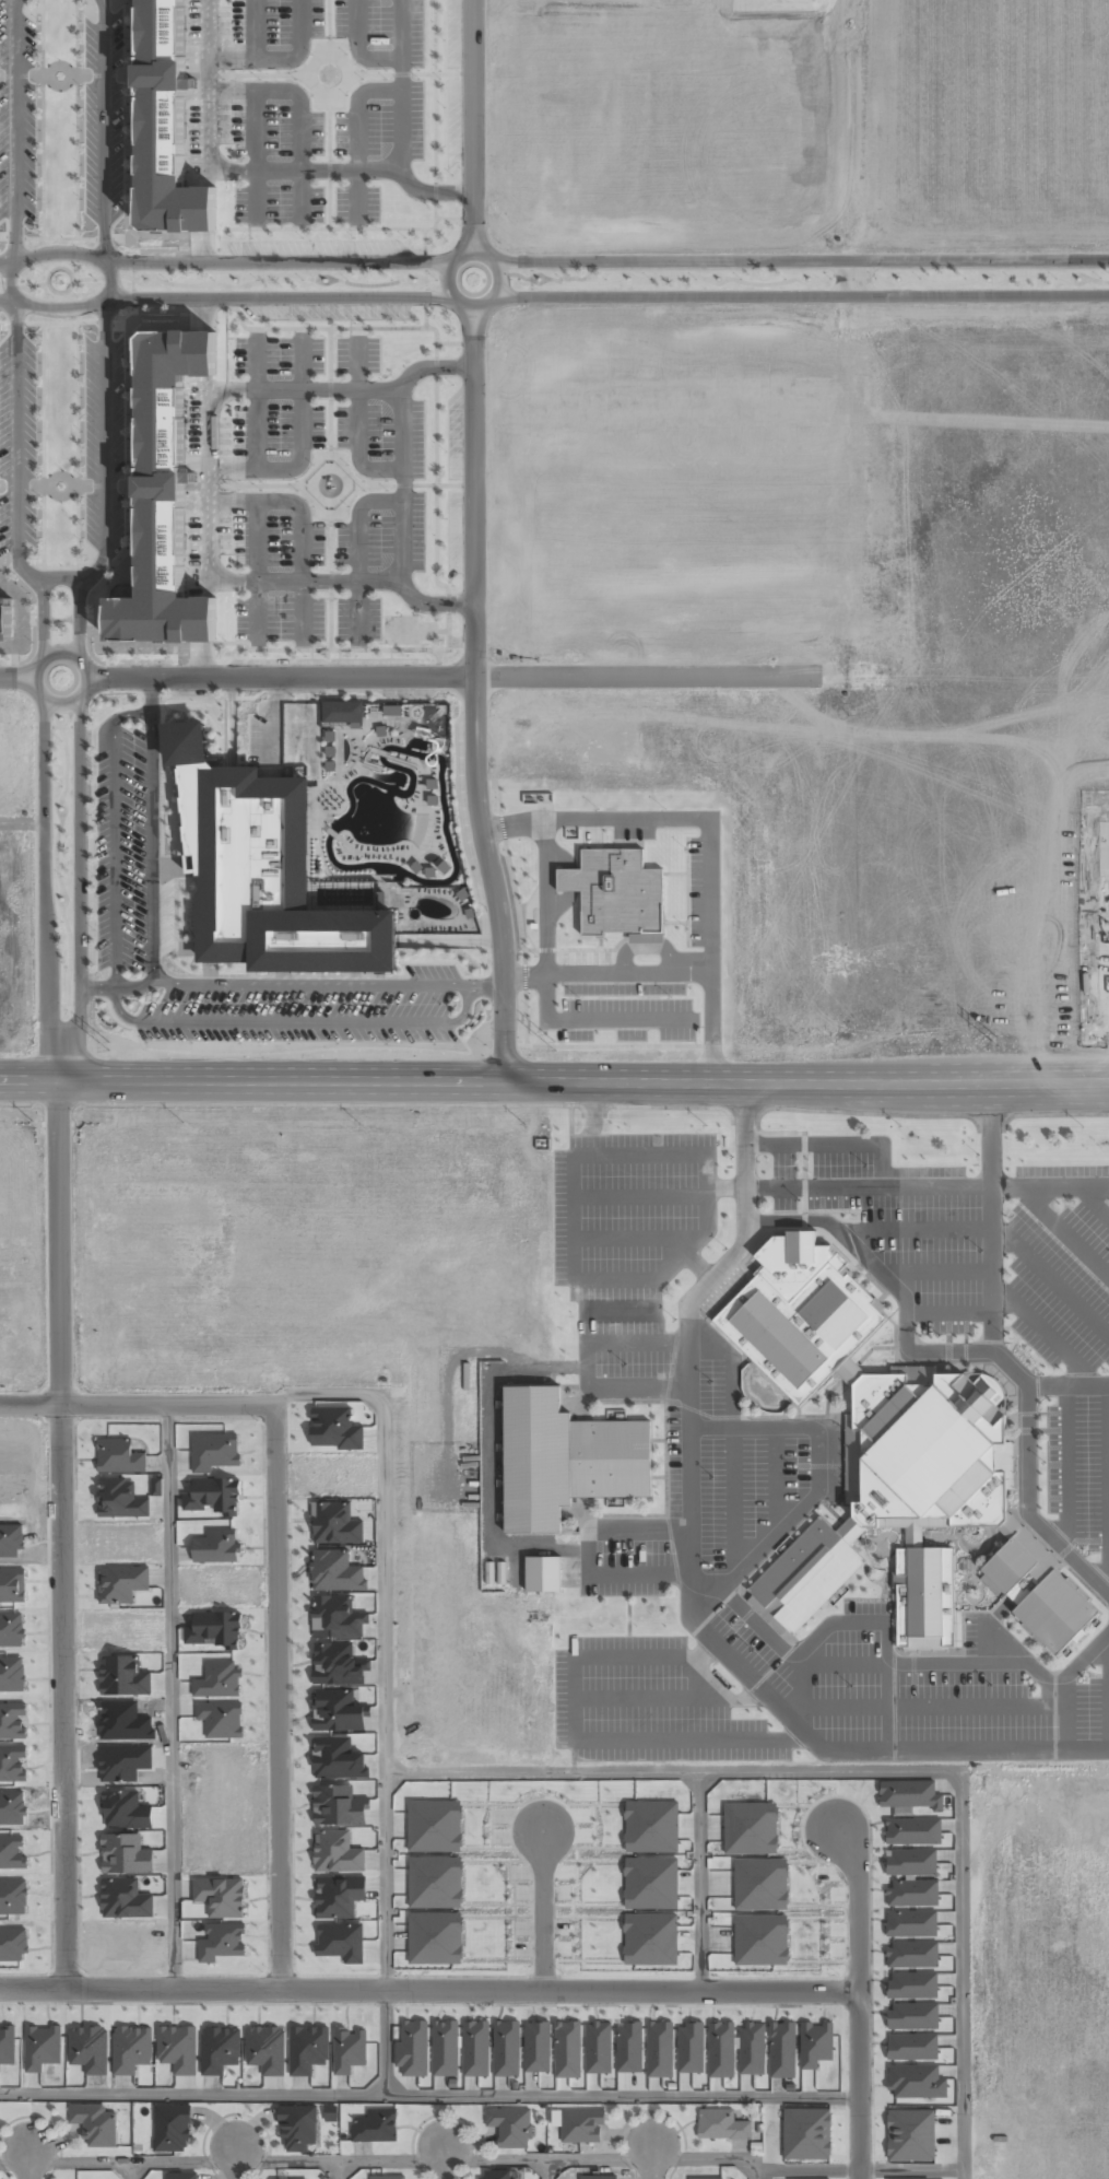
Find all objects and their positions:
building: (166, 126)
road: (472, 126)
road: (800, 261)
road: (224, 262)
road: (664, 273)
road: (850, 274)
road: (528, 280)
road: (989, 280)
road: (800, 295)
road: (224, 296)
road: (471, 307)
road: (15, 332)
road: (105, 333)
building: (165, 496)
road: (62, 577)
building: (5, 620)
road: (453, 677)
road: (16, 678)
road: (151, 694)
road: (474, 701)
road: (62, 705)
building: (342, 711)
road: (22, 822)
building: (263, 868)
building: (615, 890)
road: (44, 895)
road: (79, 895)
road: (179, 985)
road: (485, 986)
road: (119, 987)
road: (140, 1020)
power tower: (944, 1043)
power tower: (480, 1046)
power tower: (22, 1049)
road: (554, 1090)
road: (567, 1129)
road: (743, 1160)
road: (925, 1186)
road: (723, 1187)
road: (638, 1195)
road: (1092, 1203)
parking lot: (627, 1210)
road: (991, 1218)
road: (916, 1229)
road: (1060, 1233)
road: (635, 1238)
road: (680, 1255)
road: (696, 1267)
road: (937, 1270)
road: (1050, 1282)
road: (605, 1312)
road: (948, 1314)
road: (1040, 1331)
road: (691, 1338)
road: (585, 1364)
road: (1067, 1385)
road: (137, 1402)
road: (730, 1446)
building: (565, 1458)
road: (1066, 1468)
building: (897, 1469)
road: (828, 1474)
road: (774, 1481)
building: (156, 1487)
road: (1108, 1490)
building: (213, 1495)
building: (120, 1499)
building: (335, 1523)
road: (61, 1539)
road: (586, 1555)
building: (542, 1573)
building: (121, 1583)
road: (626, 1617)
road: (853, 1622)
building: (215, 1629)
road: (384, 1639)
road: (1004, 1644)
road: (870, 1665)
building: (123, 1676)
road: (1064, 1682)
road: (710, 1686)
road: (1108, 1691)
road: (170, 1696)
road: (278, 1696)
road: (798, 1696)
road: (647, 1699)
parking lot: (648, 1706)
road: (931, 1707)
road: (887, 1708)
road: (589, 1741)
road: (875, 1771)
building: (908, 1794)
building: (338, 1805)
building: (651, 1826)
building: (750, 1828)
building: (912, 1830)
building: (337, 1852)
building: (125, 1854)
building: (911, 1862)
road: (699, 1881)
building: (760, 1884)
building: (912, 1893)
building: (221, 1896)
building: (339, 1896)
building: (125, 1898)
road: (542, 1910)
building: (910, 1923)
building: (760, 1940)
building: (912, 1954)
building: (911, 1984)
road: (427, 1990)
road: (856, 2001)
building: (913, 2016)
road: (385, 2042)
building: (815, 2045)
building: (911, 2046)
building: (536, 2047)
building: (177, 2048)
building: (412, 2048)
building: (445, 2048)
building: (475, 2048)
building: (689, 2048)
building: (89, 2049)
building: (130, 2049)
building: (219, 2049)
building: (266, 2049)
building: (307, 2049)
building: (506, 2049)
building: (659, 2049)
building: (720, 2049)
building: (751, 2049)
building: (781, 2050)
building: (916, 2081)
road: (427, 2095)
building: (94, 2124)
building: (374, 2124)
building: (580, 2125)
building: (721, 2125)
building: (509, 2127)
building: (172, 2128)
building: (296, 2128)
building: (806, 2133)
building: (910, 2134)
road: (651, 2160)
road: (377, 2162)
road: (445, 2162)
road: (30, 2163)
road: (236, 2164)
road: (754, 2168)
road: (857, 2168)
road: (547, 2169)
road: (131, 2170)
road: (340, 2170)
building: (495, 2175)
building: (182, 2176)
building: (386, 2177)
building: (595, 2177)
building: (708, 2178)

